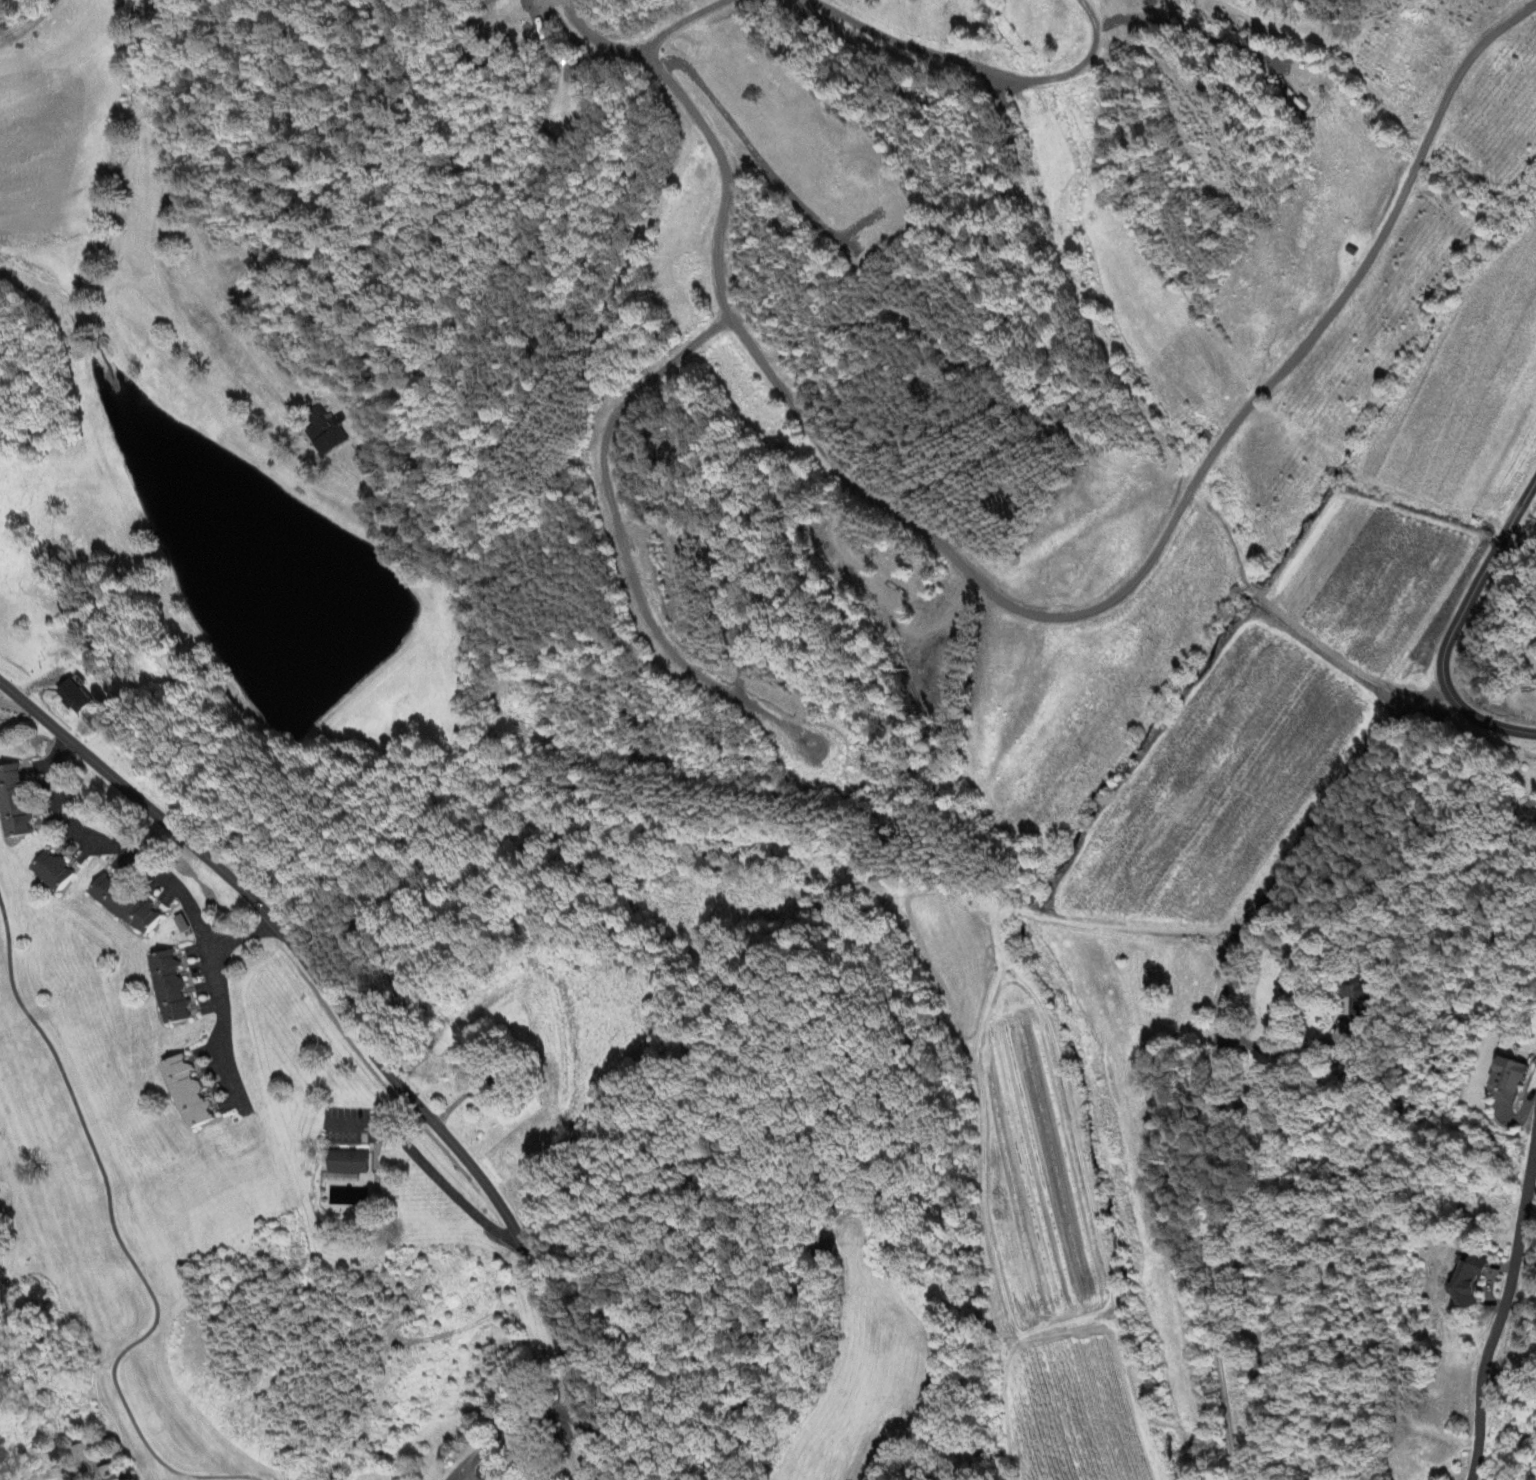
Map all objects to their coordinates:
road: (683, 19)
road: (29, 25)
road: (592, 40)
road: (975, 67)
road: (164, 228)
building: (323, 432)
road: (624, 547)
road: (1080, 612)
road: (1451, 626)
building: (76, 698)
building: (14, 803)
building: (1530, 811)
road: (140, 865)
building: (53, 872)
building: (124, 905)
building: (170, 989)
building: (1352, 1003)
road: (221, 1031)
road: (358, 1038)
road: (1218, 1048)
building: (1512, 1076)
building: (188, 1093)
building: (348, 1163)
road: (426, 1170)
park: (213, 1209)
building: (1471, 1280)
road: (1501, 1303)
road: (515, 1433)
building: (80, 1455)
road: (462, 1469)
parking lot: (474, 1471)
road: (61, 1473)
building: (110, 1474)

